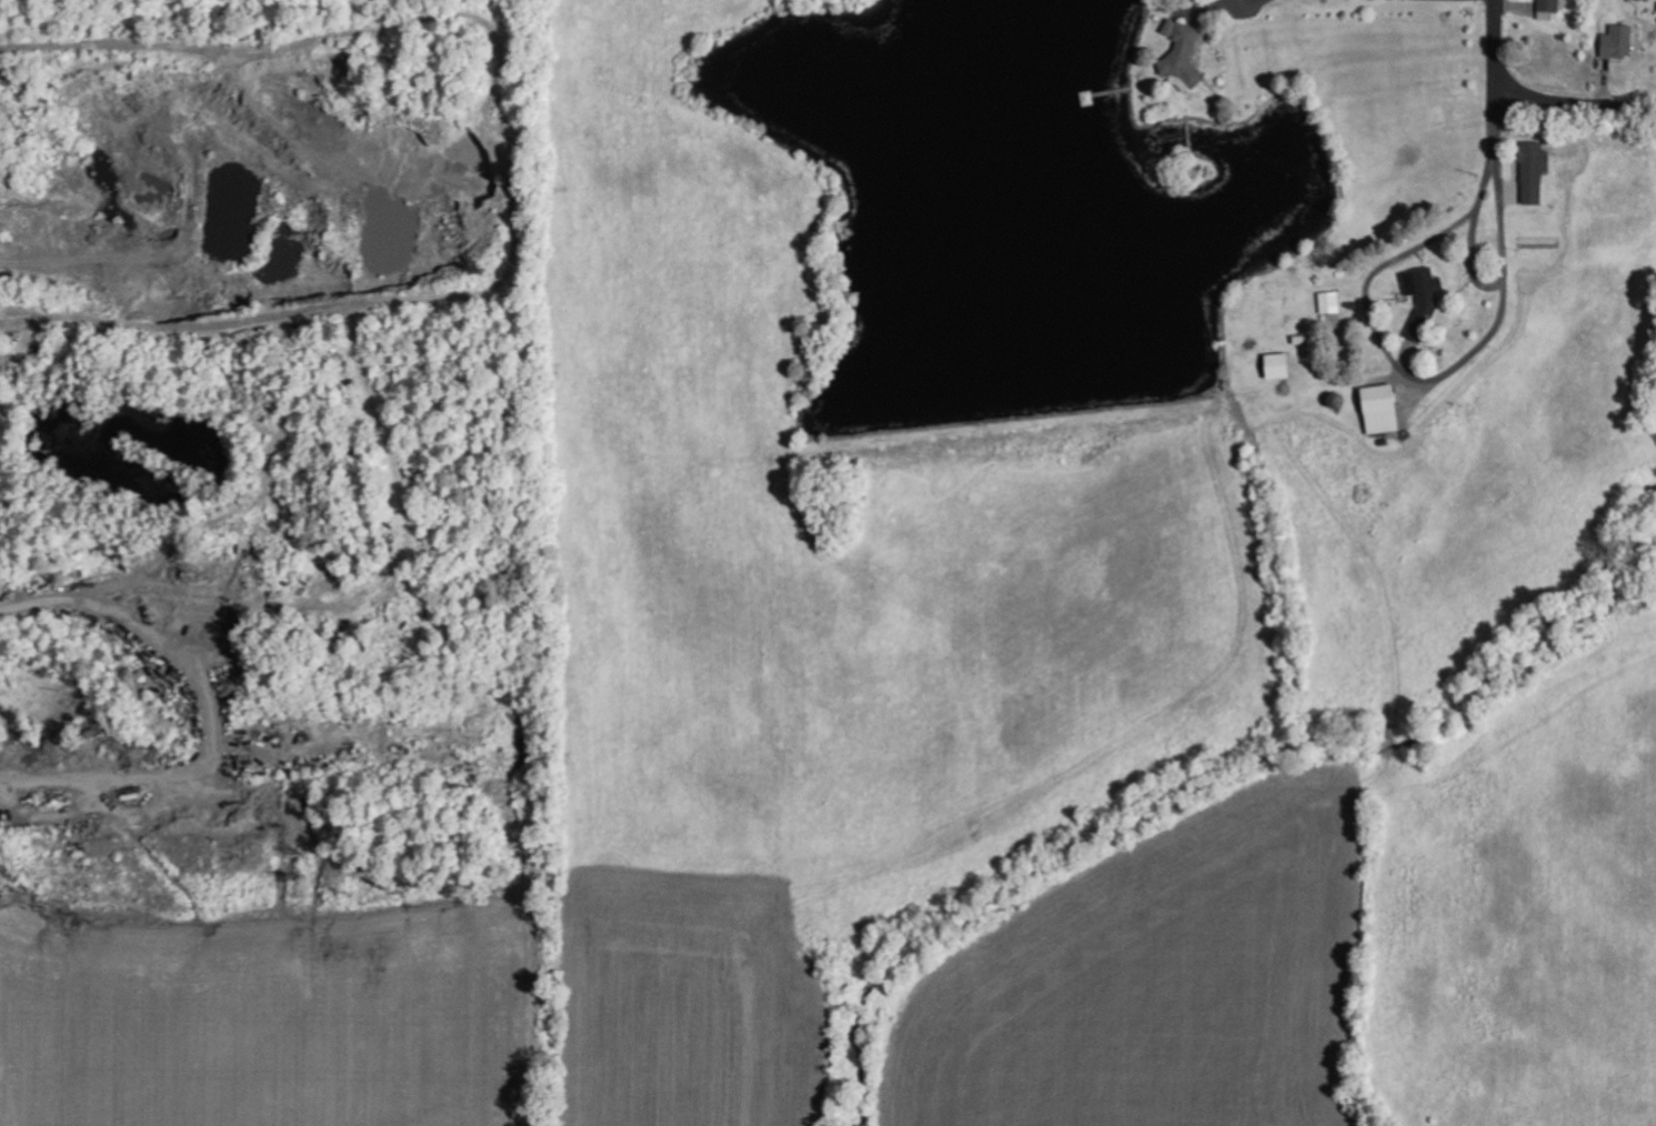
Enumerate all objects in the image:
building: (1548, 9)
building: (1618, 42)
building: (1183, 56)
road: (1533, 99)
building: (1534, 171)
building: (1423, 301)
building: (1331, 302)
building: (1278, 366)
building: (1382, 410)

